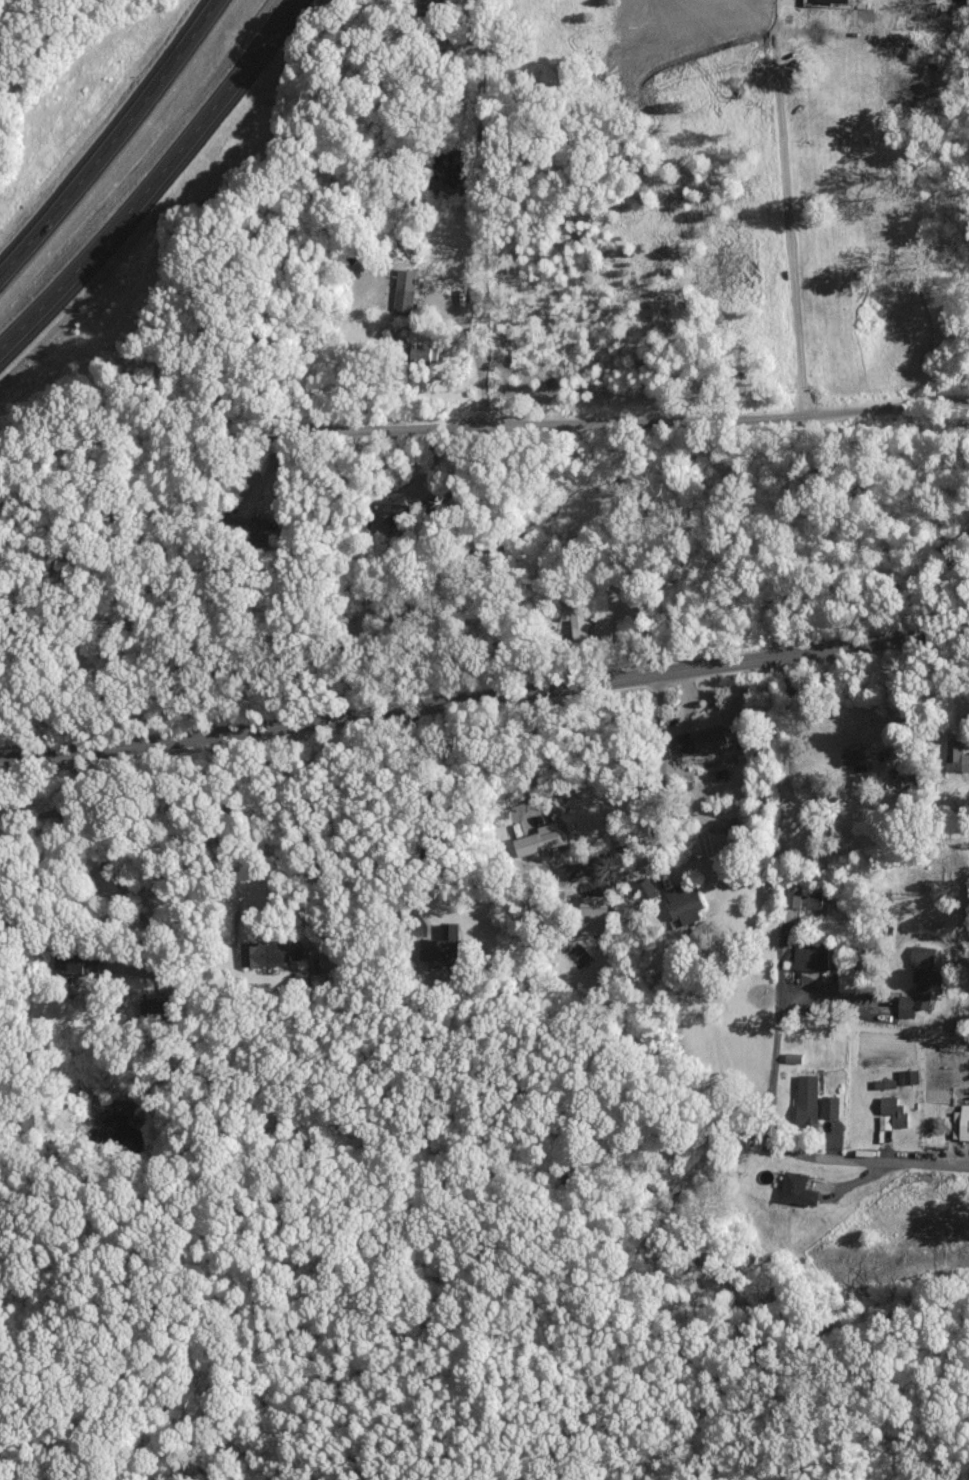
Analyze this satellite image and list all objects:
building: (828, 0)
road: (109, 138)
road: (156, 185)
road: (782, 206)
road: (485, 233)
building: (401, 291)
building: (417, 352)
road: (478, 354)
road: (884, 410)
road: (535, 423)
building: (390, 506)
building: (257, 530)
road: (842, 558)
building: (575, 618)
road: (923, 633)
road: (615, 637)
road: (439, 702)
building: (695, 741)
road: (537, 751)
road: (787, 757)
building: (953, 758)
building: (903, 778)
road: (56, 808)
road: (428, 829)
road: (666, 830)
building: (534, 839)
road: (293, 847)
building: (642, 890)
road: (127, 897)
building: (801, 897)
building: (679, 904)
building: (589, 914)
building: (443, 941)
building: (266, 953)
building: (806, 958)
building: (67, 962)
building: (916, 981)
road: (829, 997)
building: (147, 1008)
building: (789, 1058)
building: (905, 1077)
road: (770, 1083)
building: (881, 1084)
building: (803, 1101)
building: (826, 1106)
building: (888, 1113)
building: (959, 1123)
road: (919, 1163)
building: (793, 1189)

